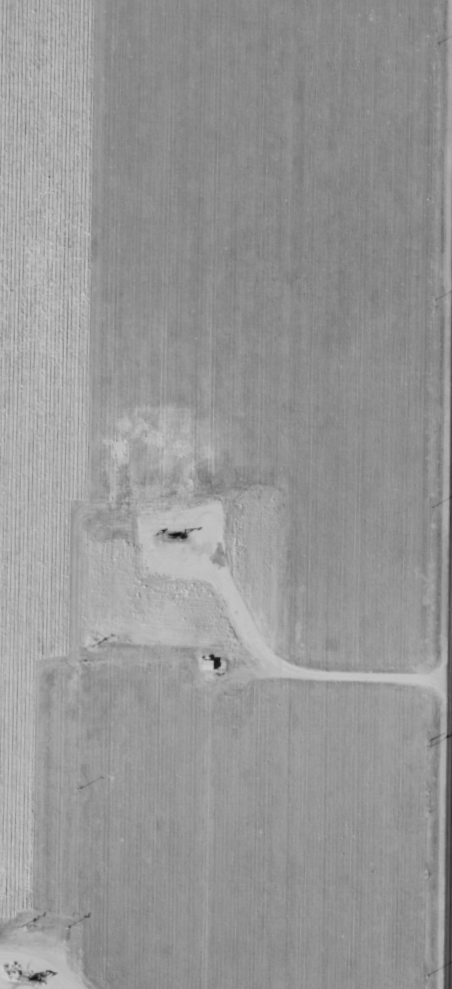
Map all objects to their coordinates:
road: (229, 669)
road: (450, 792)
road: (51, 979)

